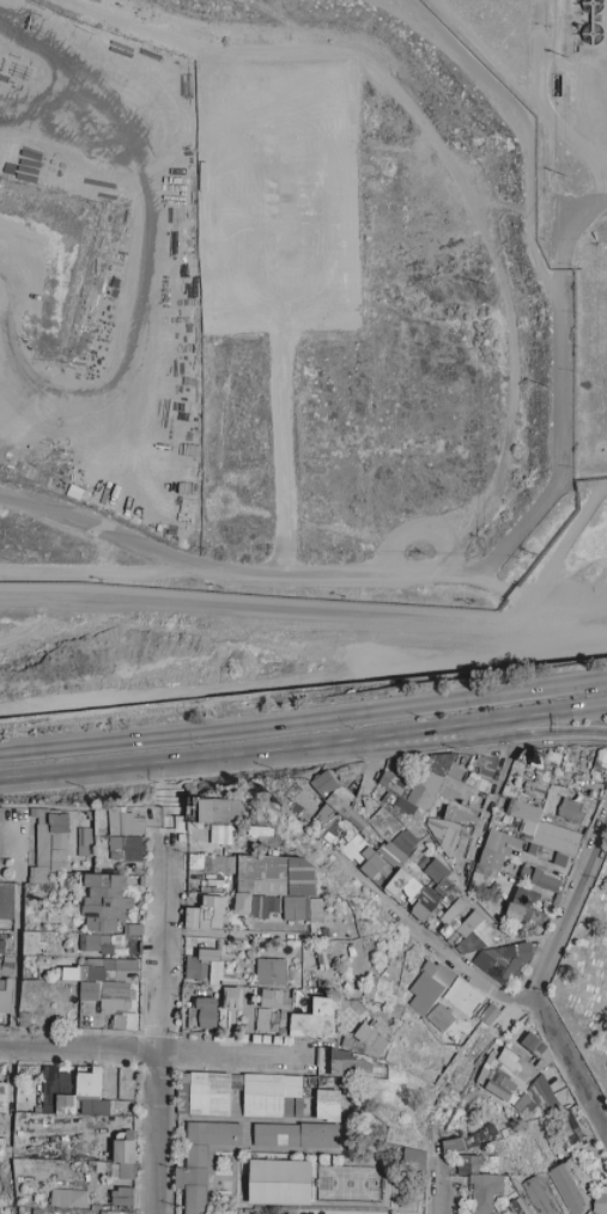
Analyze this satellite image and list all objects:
road: (523, 128)
wastewater plant: (560, 166)
road: (146, 305)
road: (558, 382)
road: (565, 547)
road: (104, 575)
road: (237, 579)
road: (265, 608)
road: (540, 613)
road: (37, 621)
road: (291, 680)
road: (303, 716)
road: (482, 732)
road: (548, 742)
road: (303, 746)
building: (557, 749)
building: (472, 759)
building: (536, 760)
building: (550, 760)
building: (600, 760)
building: (438, 761)
building: (485, 766)
building: (566, 769)
building: (455, 770)
building: (469, 775)
building: (333, 776)
building: (414, 776)
building: (541, 776)
building: (384, 777)
building: (429, 779)
building: (396, 781)
building: (324, 783)
building: (481, 784)
building: (394, 787)
building: (453, 788)
building: (535, 789)
building: (472, 790)
building: (512, 791)
building: (291, 794)
building: (591, 794)
building: (344, 795)
building: (420, 796)
building: (465, 799)
building: (438, 801)
building: (339, 802)
building: (535, 802)
building: (390, 803)
building: (303, 806)
building: (216, 809)
building: (570, 809)
building: (359, 811)
building: (523, 811)
building: (436, 812)
road: (486, 813)
building: (41, 814)
building: (90, 814)
building: (453, 815)
building: (354, 819)
building: (99, 820)
building: (250, 820)
building: (324, 821)
building: (59, 823)
building: (384, 824)
building: (115, 825)
building: (132, 825)
building: (498, 825)
building: (521, 828)
building: (254, 830)
building: (421, 830)
building: (340, 832)
building: (220, 834)
building: (85, 836)
building: (439, 836)
building: (341, 837)
building: (556, 837)
building: (59, 840)
building: (426, 840)
building: (496, 840)
building: (521, 840)
building: (130, 842)
building: (405, 842)
building: (115, 843)
building: (42, 844)
building: (526, 845)
building: (226, 849)
building: (357, 849)
building: (533, 849)
building: (87, 850)
building: (460, 850)
building: (79, 851)
road: (327, 851)
building: (546, 852)
building: (116, 854)
building: (133, 854)
building: (57, 855)
building: (391, 855)
building: (199, 856)
building: (419, 858)
building: (490, 858)
building: (560, 858)
building: (189, 862)
building: (206, 862)
building: (221, 862)
building: (56, 866)
building: (368, 868)
building: (436, 870)
building: (244, 873)
building: (490, 873)
building: (269, 874)
building: (526, 874)
building: (40, 875)
building: (383, 875)
building: (301, 876)
building: (80, 879)
building: (105, 880)
building: (546, 881)
building: (397, 882)
building: (83, 887)
building: (413, 888)
building: (447, 892)
building: (101, 893)
building: (401, 897)
building: (490, 897)
building: (481, 898)
building: (6, 899)
building: (528, 899)
building: (208, 900)
building: (108, 902)
building: (242, 904)
building: (268, 904)
building: (424, 904)
building: (254, 905)
building: (295, 906)
building: (453, 910)
building: (116, 911)
building: (206, 911)
building: (514, 911)
road: (567, 912)
building: (214, 913)
building: (527, 915)
building: (535, 915)
building: (192, 917)
building: (433, 917)
building: (474, 918)
building: (540, 921)
building: (91, 923)
building: (454, 923)
building: (108, 925)
building: (75, 928)
building: (132, 928)
building: (445, 929)
road: (17, 933)
building: (467, 933)
building: (484, 933)
building: (451, 937)
road: (429, 939)
building: (496, 939)
building: (81, 941)
building: (92, 941)
building: (109, 941)
building: (218, 943)
building: (2, 946)
building: (477, 946)
building: (534, 946)
building: (462, 947)
building: (67, 948)
building: (350, 949)
building: (328, 952)
building: (321, 960)
building: (503, 960)
building: (206, 961)
building: (93, 963)
building: (108, 964)
building: (125, 964)
building: (212, 964)
building: (400, 965)
building: (6, 966)
building: (427, 967)
building: (196, 969)
building: (75, 970)
building: (271, 971)
building: (389, 972)
building: (107, 976)
building: (442, 976)
building: (59, 977)
building: (74, 977)
building: (396, 977)
building: (405, 979)
building: (427, 979)
building: (229, 981)
building: (2, 983)
building: (371, 988)
building: (114, 989)
building: (89, 990)
building: (208, 990)
building: (56, 993)
building: (383, 993)
building: (132, 994)
building: (424, 994)
building: (5, 996)
building: (462, 996)
building: (231, 997)
building: (266, 998)
building: (67, 1001)
building: (114, 1004)
building: (201, 1013)
building: (487, 1014)
building: (438, 1018)
road: (158, 1022)
building: (372, 1037)
building: (532, 1044)
road: (78, 1046)
building: (342, 1062)
building: (515, 1084)
building: (205, 1092)
building: (267, 1093)
building: (327, 1105)
building: (570, 1130)
building: (295, 1135)
building: (123, 1158)
building: (412, 1159)
building: (200, 1160)
building: (278, 1182)
building: (479, 1184)
building: (565, 1189)
building: (120, 1196)
building: (538, 1196)
building: (67, 1197)
building: (599, 1200)
building: (516, 1206)
building: (116, 1212)

